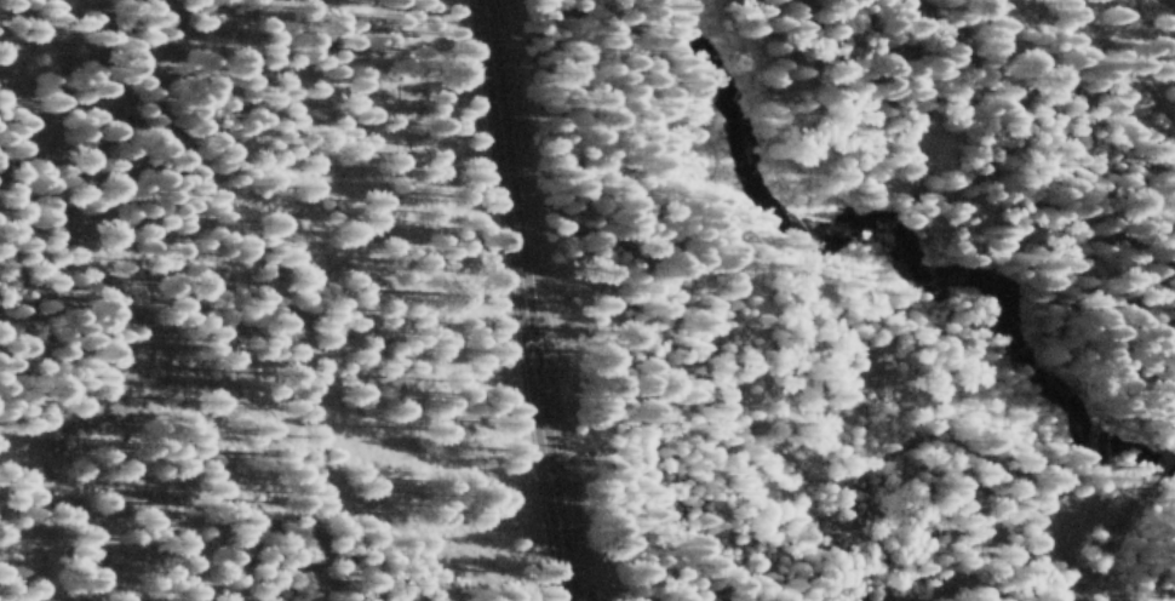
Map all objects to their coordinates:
road: (520, 300)
road: (1160, 467)
road: (1123, 543)

